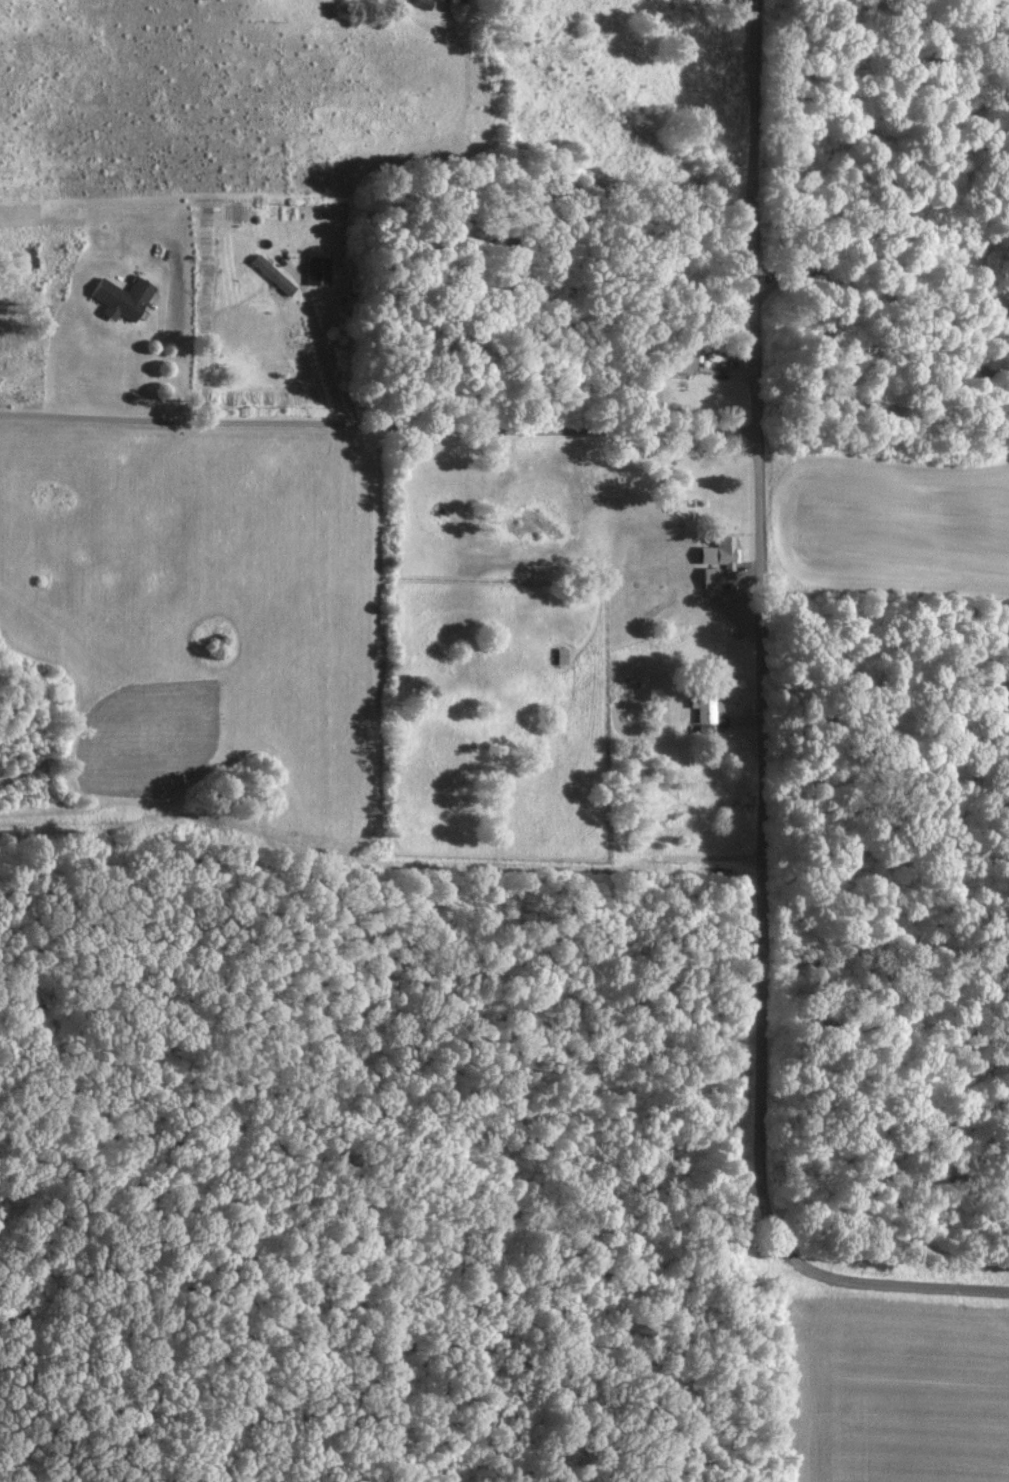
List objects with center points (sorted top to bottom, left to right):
building: (445, 0)
building: (471, 0)
building: (319, 270)
building: (275, 273)
building: (124, 297)
road: (159, 354)
road: (324, 359)
building: (681, 361)
road: (381, 426)
building: (714, 560)
building: (703, 703)
road: (763, 742)

